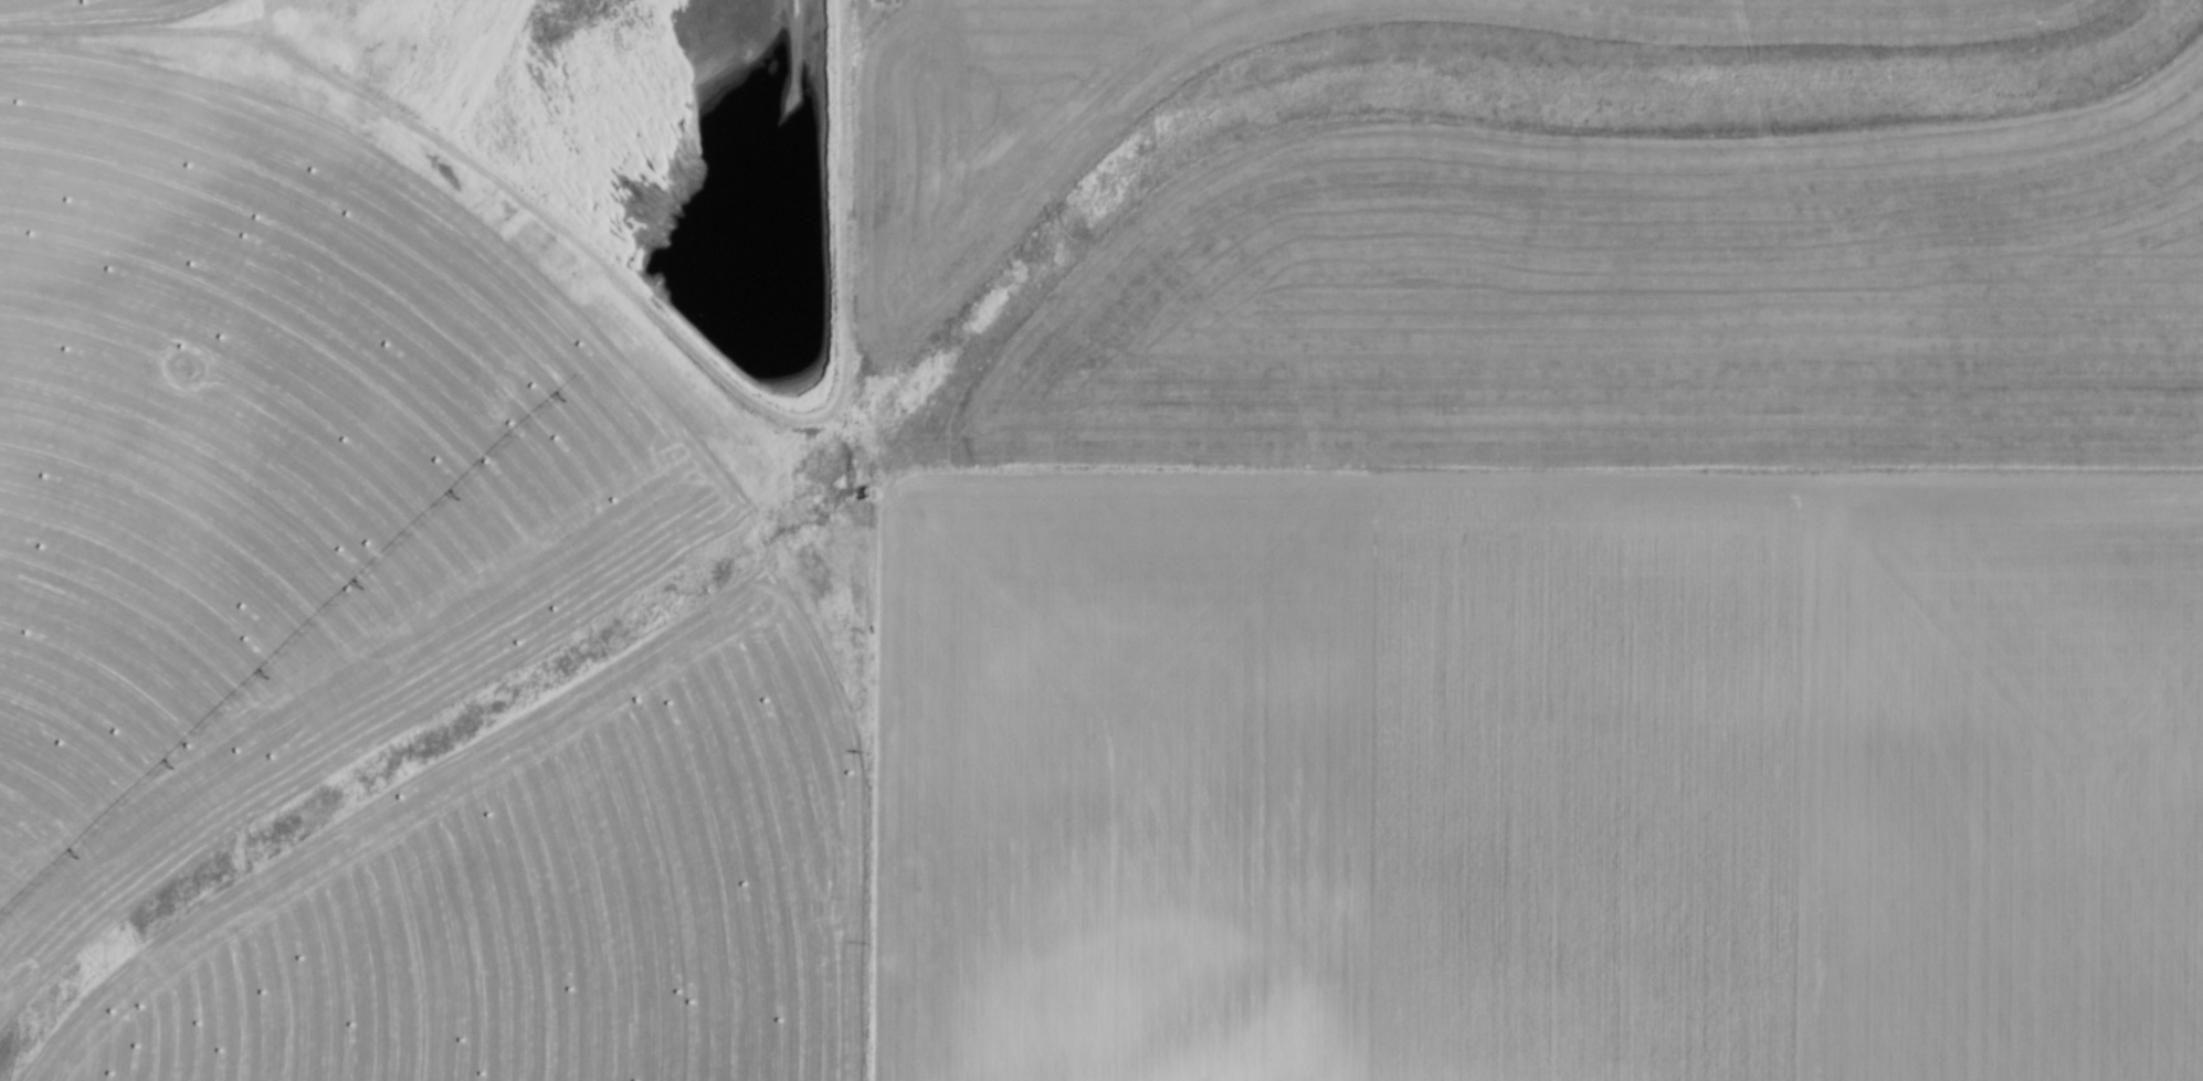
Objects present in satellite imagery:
crop: (935, 230)
crop: (377, 597)
crop: (1569, 623)

